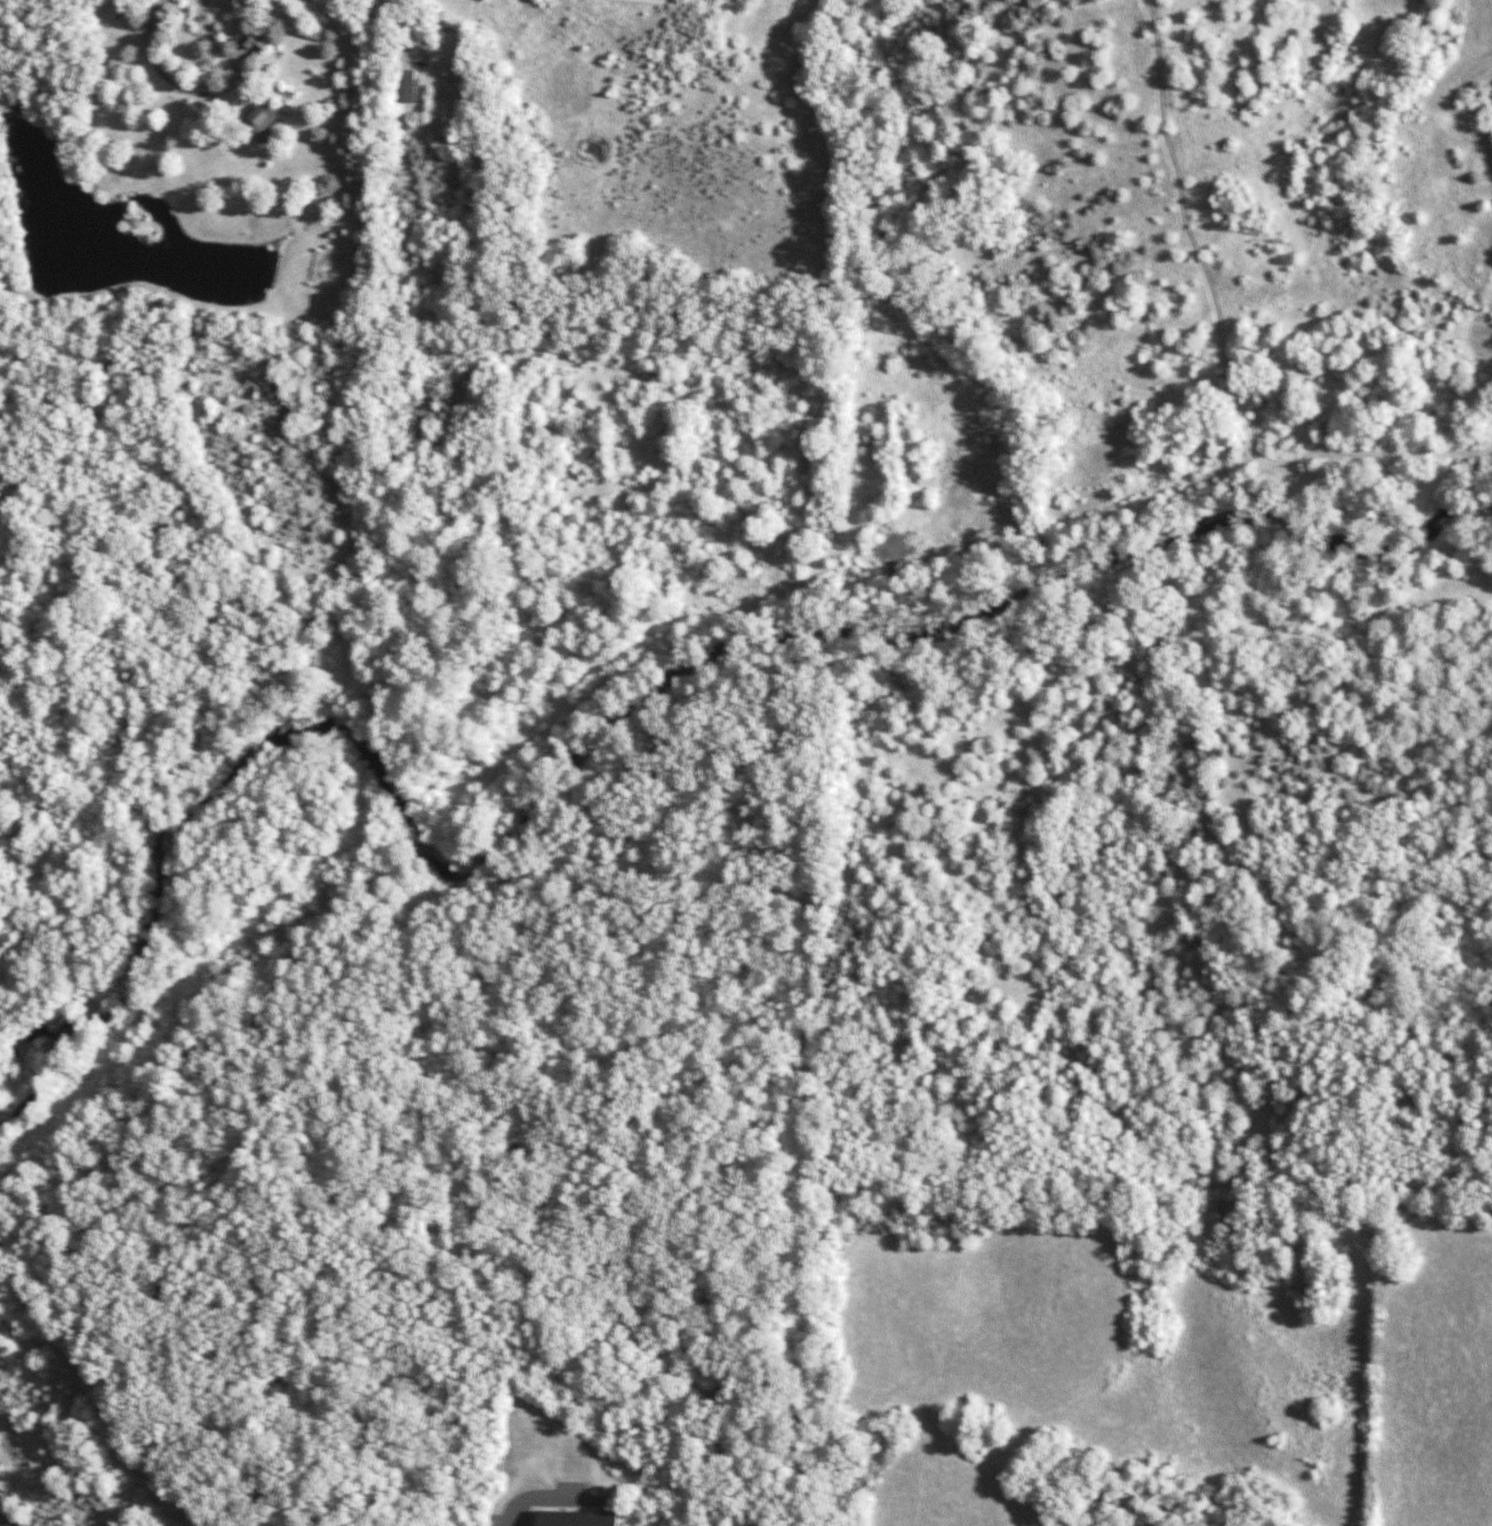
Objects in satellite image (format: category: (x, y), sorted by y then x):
road: (401, 30)
building: (255, 40)
road: (166, 75)
building: (404, 86)
building: (261, 116)
road: (540, 1497)
building: (577, 1518)
road: (4, 1522)

